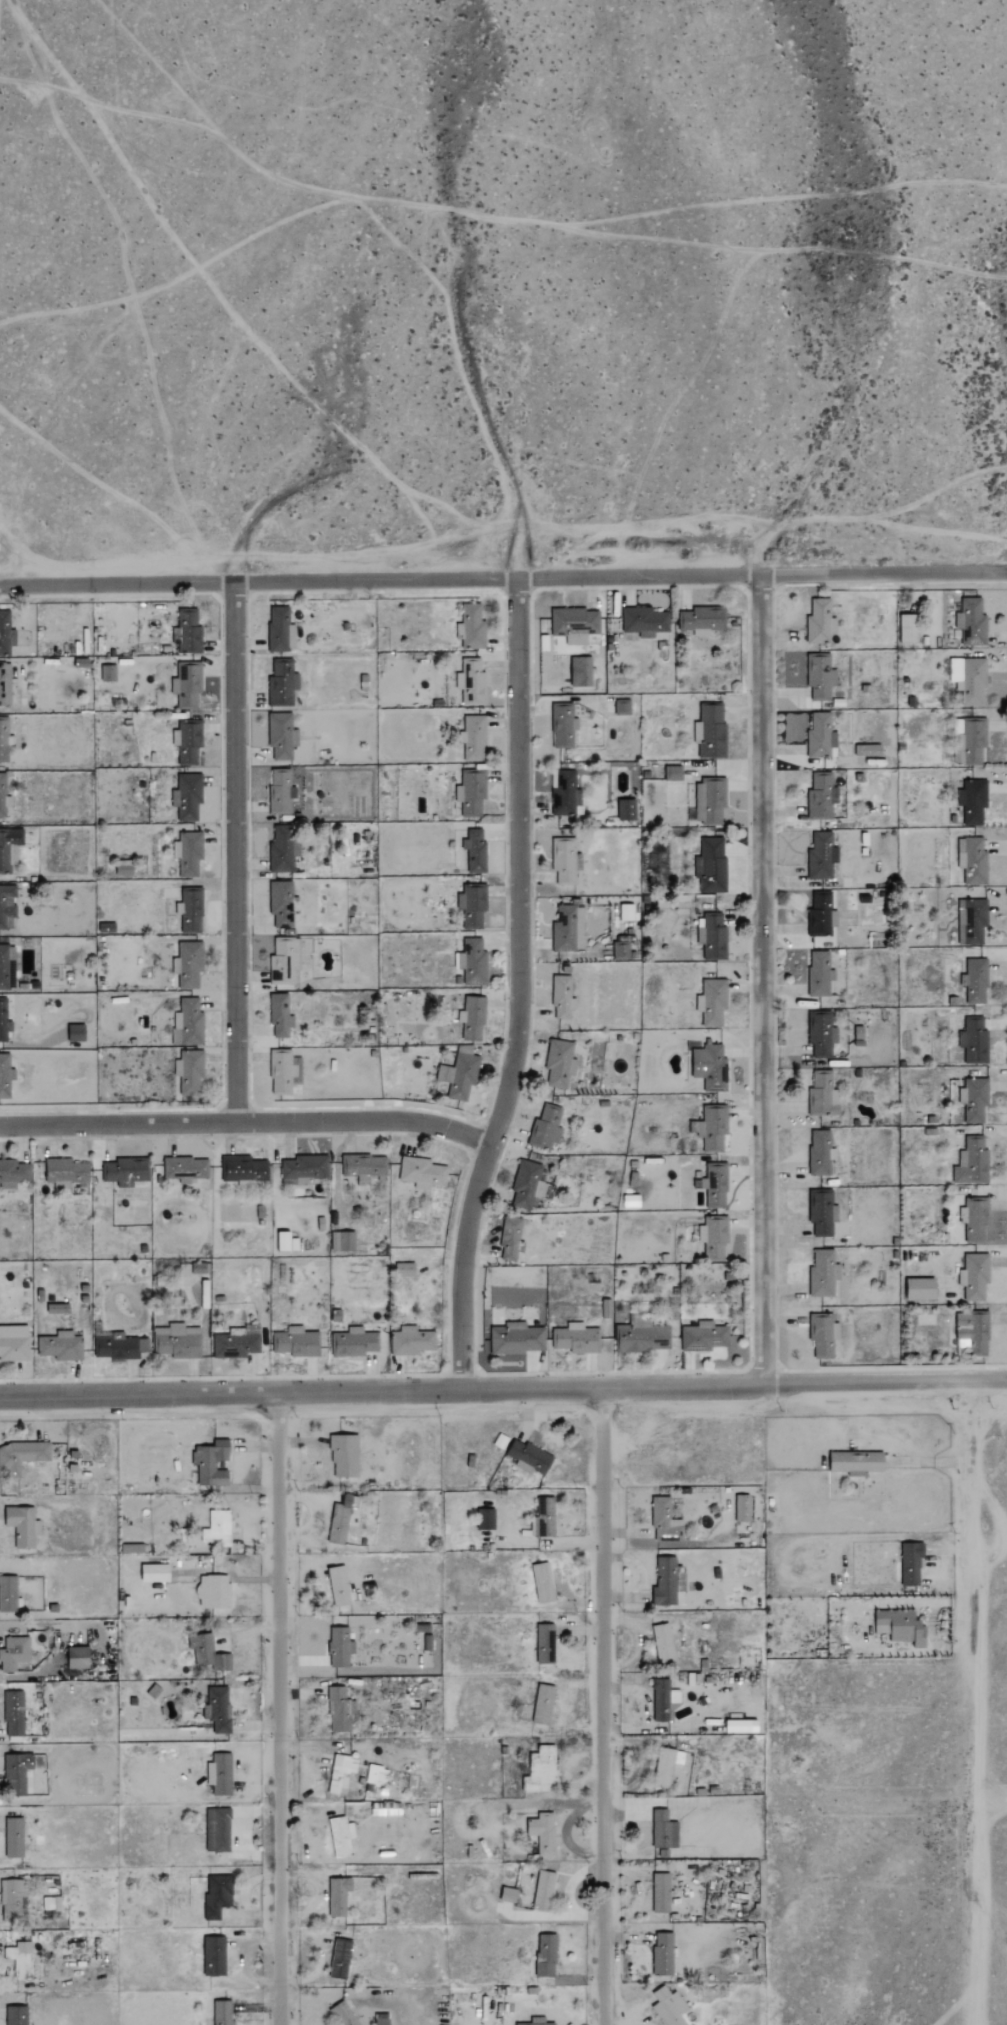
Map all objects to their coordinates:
road: (503, 579)
building: (702, 620)
building: (644, 621)
building: (820, 622)
building: (972, 622)
building: (575, 624)
building: (472, 626)
building: (280, 630)
building: (187, 632)
building: (6, 633)
building: (581, 671)
building: (108, 673)
building: (820, 675)
building: (969, 678)
building: (471, 681)
building: (6, 683)
building: (282, 683)
building: (187, 684)
building: (623, 706)
building: (563, 725)
building: (711, 730)
building: (281, 735)
building: (821, 737)
building: (474, 738)
building: (5, 740)
building: (974, 740)
building: (188, 741)
building: (868, 750)
building: (673, 773)
building: (280, 791)
building: (472, 792)
building: (566, 794)
building: (187, 796)
building: (822, 796)
building: (4, 797)
building: (710, 800)
building: (974, 801)
building: (627, 810)
building: (9, 848)
building: (283, 849)
building: (475, 851)
road: (235, 852)
building: (190, 853)
building: (822, 856)
building: (565, 860)
building: (974, 862)
building: (711, 866)
building: (281, 903)
building: (472, 905)
building: (7, 907)
building: (192, 910)
building: (626, 912)
building: (821, 915)
building: (972, 921)
building: (107, 928)
building: (568, 929)
building: (713, 936)
building: (621, 949)
building: (285, 960)
building: (472, 962)
building: (190, 964)
building: (7, 967)
building: (820, 973)
road: (762, 978)
building: (976, 981)
road: (518, 987)
building: (562, 998)
building: (712, 1001)
building: (280, 1015)
building: (475, 1019)
building: (4, 1021)
building: (190, 1022)
building: (77, 1033)
building: (821, 1033)
building: (974, 1040)
building: (560, 1063)
building: (710, 1067)
building: (284, 1071)
building: (190, 1072)
building: (460, 1072)
building: (6, 1076)
building: (823, 1094)
building: (974, 1099)
road: (247, 1121)
building: (546, 1127)
building: (713, 1127)
building: (821, 1152)
building: (972, 1162)
building: (305, 1167)
building: (365, 1167)
building: (243, 1168)
building: (186, 1169)
building: (125, 1171)
building: (66, 1172)
building: (422, 1173)
building: (13, 1174)
building: (528, 1185)
building: (714, 1185)
building: (631, 1201)
building: (823, 1213)
building: (974, 1218)
building: (714, 1237)
building: (511, 1239)
building: (283, 1241)
building: (344, 1241)
building: (406, 1270)
building: (823, 1274)
building: (975, 1276)
building: (917, 1290)
building: (58, 1309)
building: (823, 1334)
building: (973, 1334)
building: (642, 1337)
building: (703, 1337)
building: (576, 1338)
building: (516, 1339)
building: (177, 1341)
building: (412, 1341)
building: (297, 1342)
building: (354, 1342)
building: (14, 1344)
building: (237, 1344)
building: (61, 1346)
building: (121, 1348)
road: (503, 1388)
building: (23, 1455)
building: (345, 1455)
building: (529, 1456)
building: (857, 1462)
building: (212, 1463)
building: (742, 1508)
building: (545, 1517)
building: (486, 1518)
building: (340, 1520)
building: (665, 1520)
building: (23, 1525)
building: (218, 1528)
building: (911, 1562)
building: (155, 1572)
building: (668, 1580)
building: (543, 1582)
building: (339, 1585)
building: (214, 1590)
building: (9, 1593)
building: (901, 1625)
building: (545, 1643)
building: (664, 1643)
building: (340, 1647)
building: (208, 1652)
building: (14, 1653)
building: (78, 1657)
building: (665, 1700)
road: (973, 1701)
building: (543, 1704)
road: (605, 1706)
building: (218, 1708)
road: (281, 1708)
building: (340, 1709)
building: (14, 1716)
building: (899, 1722)
building: (742, 1725)
building: (666, 1765)
building: (17, 1769)
building: (542, 1770)
building: (220, 1773)
building: (341, 1773)
building: (377, 1775)
building: (218, 1830)
building: (664, 1830)
building: (544, 1832)
building: (341, 1836)
building: (14, 1837)
building: (544, 1890)
building: (661, 1892)
building: (218, 1895)
building: (339, 1895)
building: (509, 1895)
building: (12, 1899)
building: (52, 1904)
building: (663, 1953)
building: (546, 1955)
building: (214, 1956)
building: (341, 1958)
building: (20, 1959)
building: (669, 2006)
building: (222, 2012)
building: (344, 2014)
building: (16, 2015)
building: (384, 2021)
building: (536, 2021)

